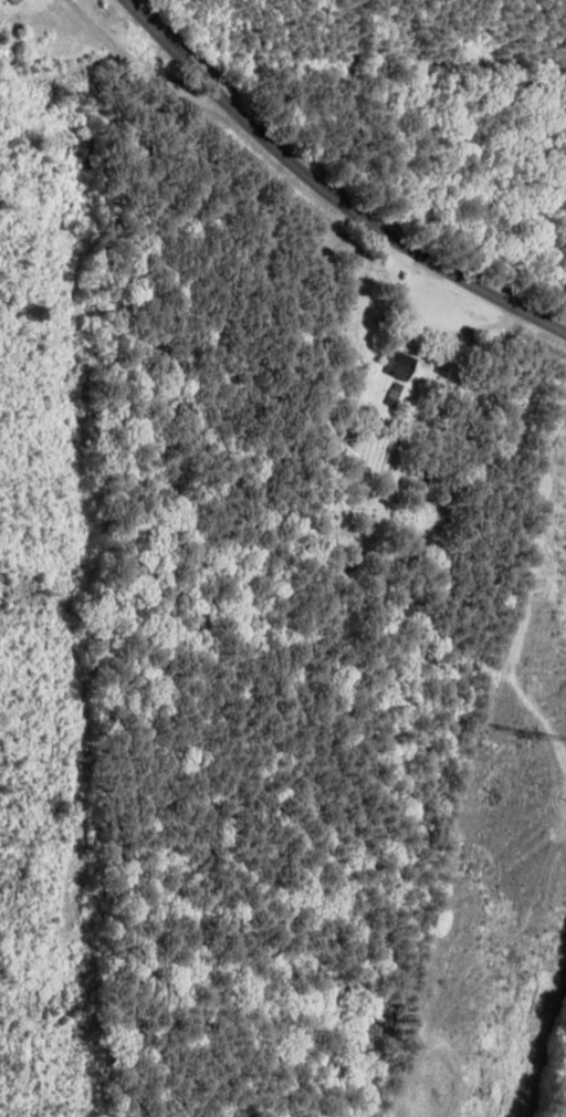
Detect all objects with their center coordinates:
building: (7, 1)
road: (321, 187)
building: (390, 365)
power tower: (523, 734)

